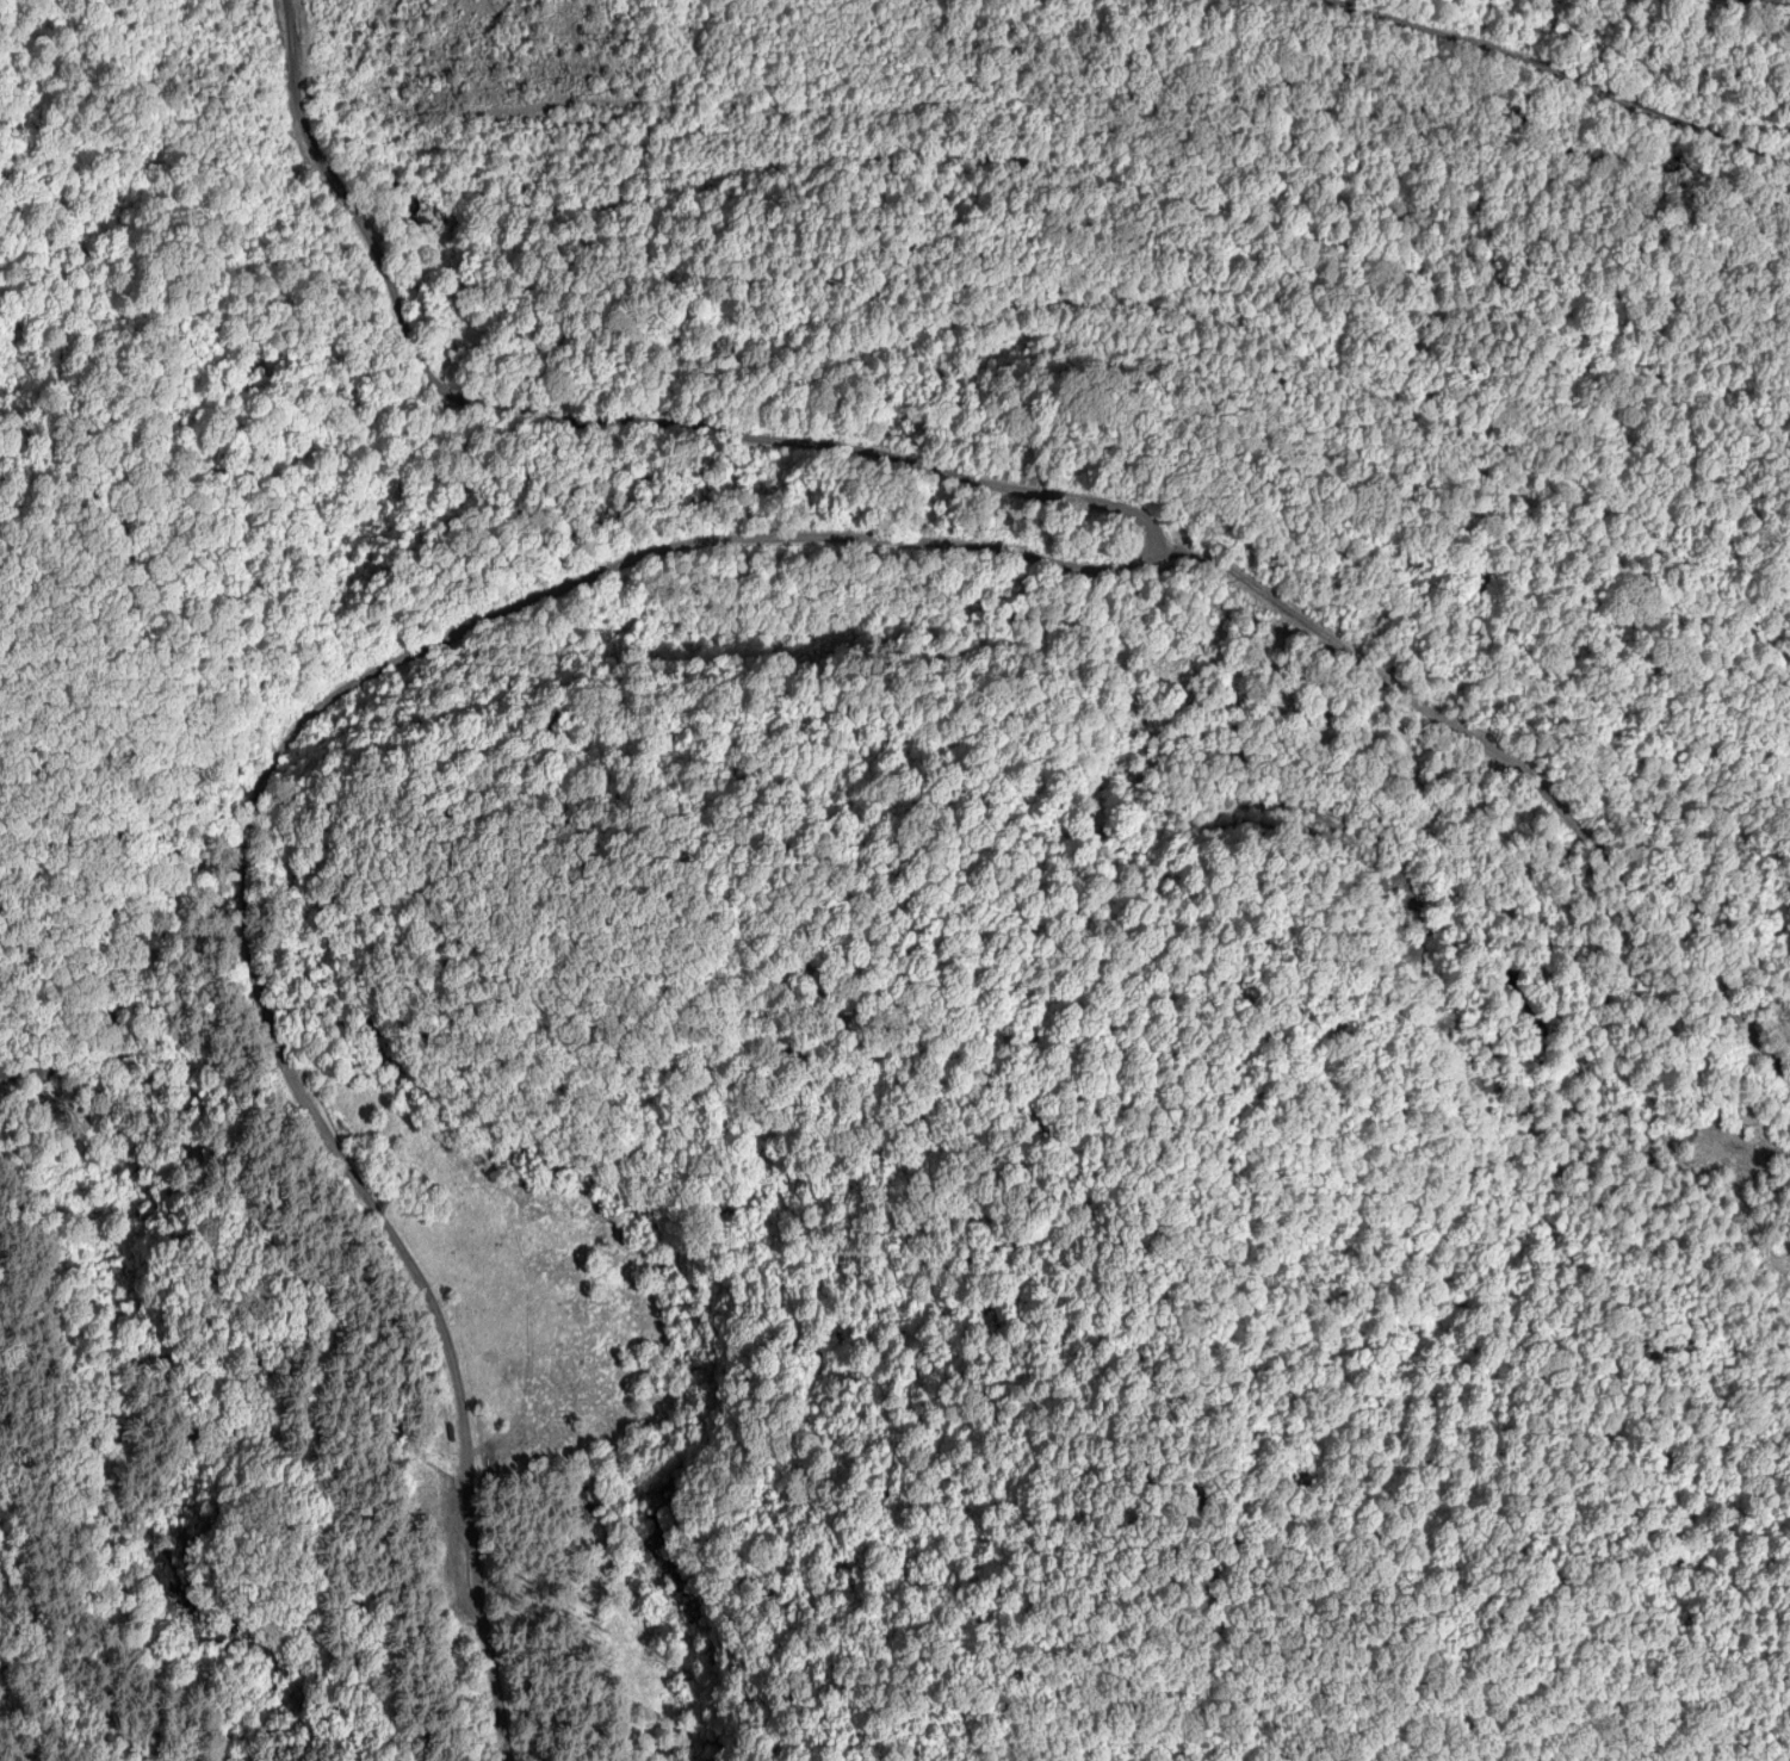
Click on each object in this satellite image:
road: (1568, 77)

